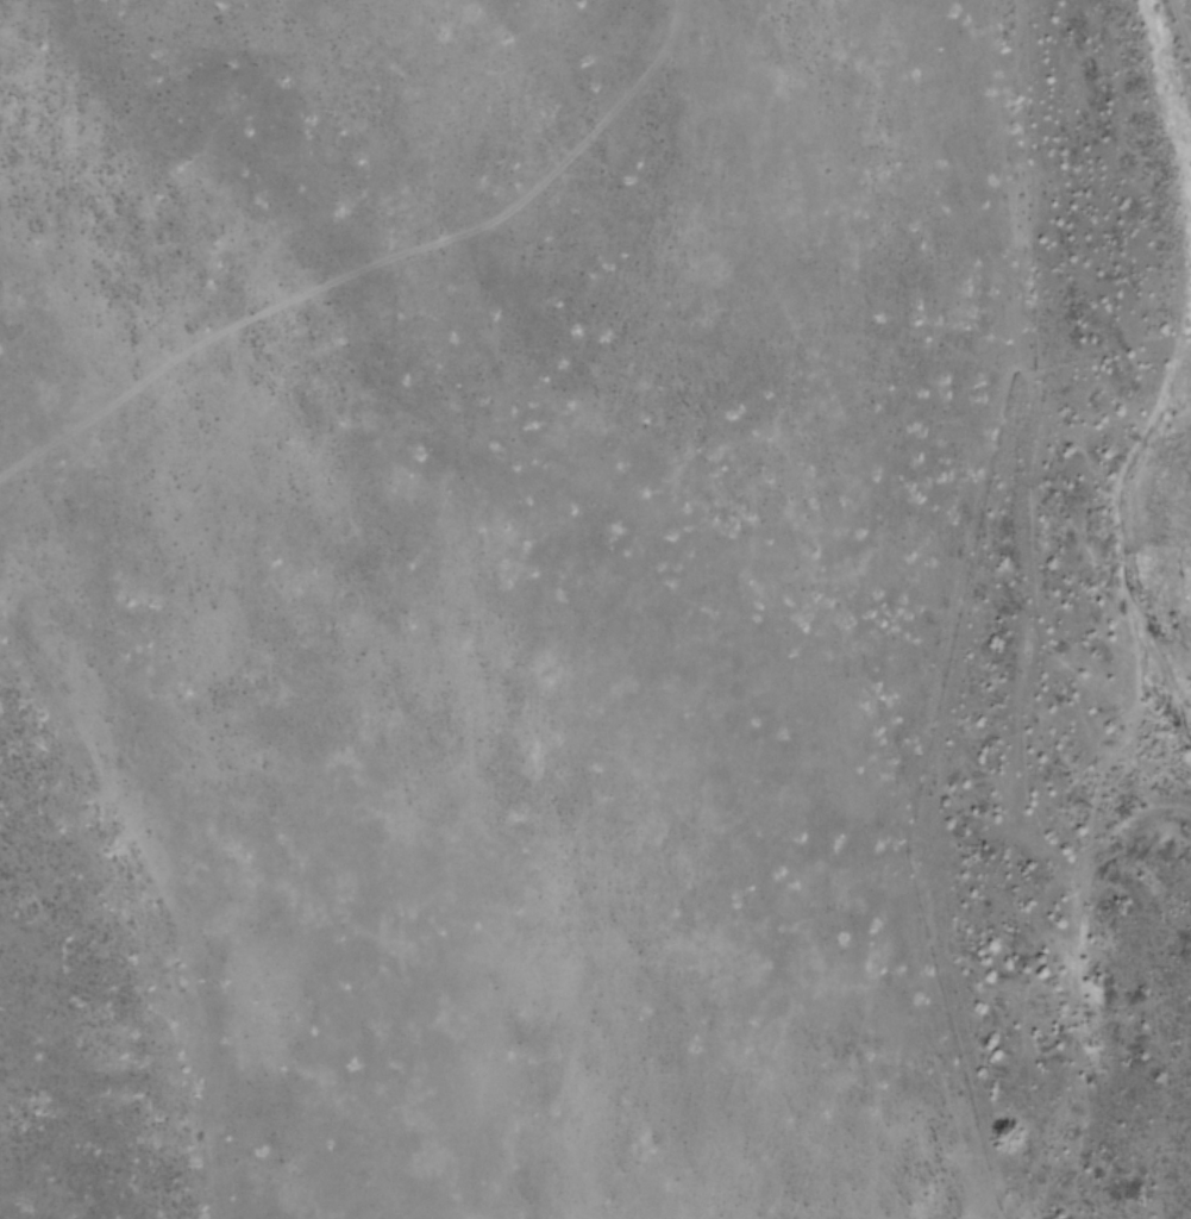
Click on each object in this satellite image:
crop: (1189, 10)

